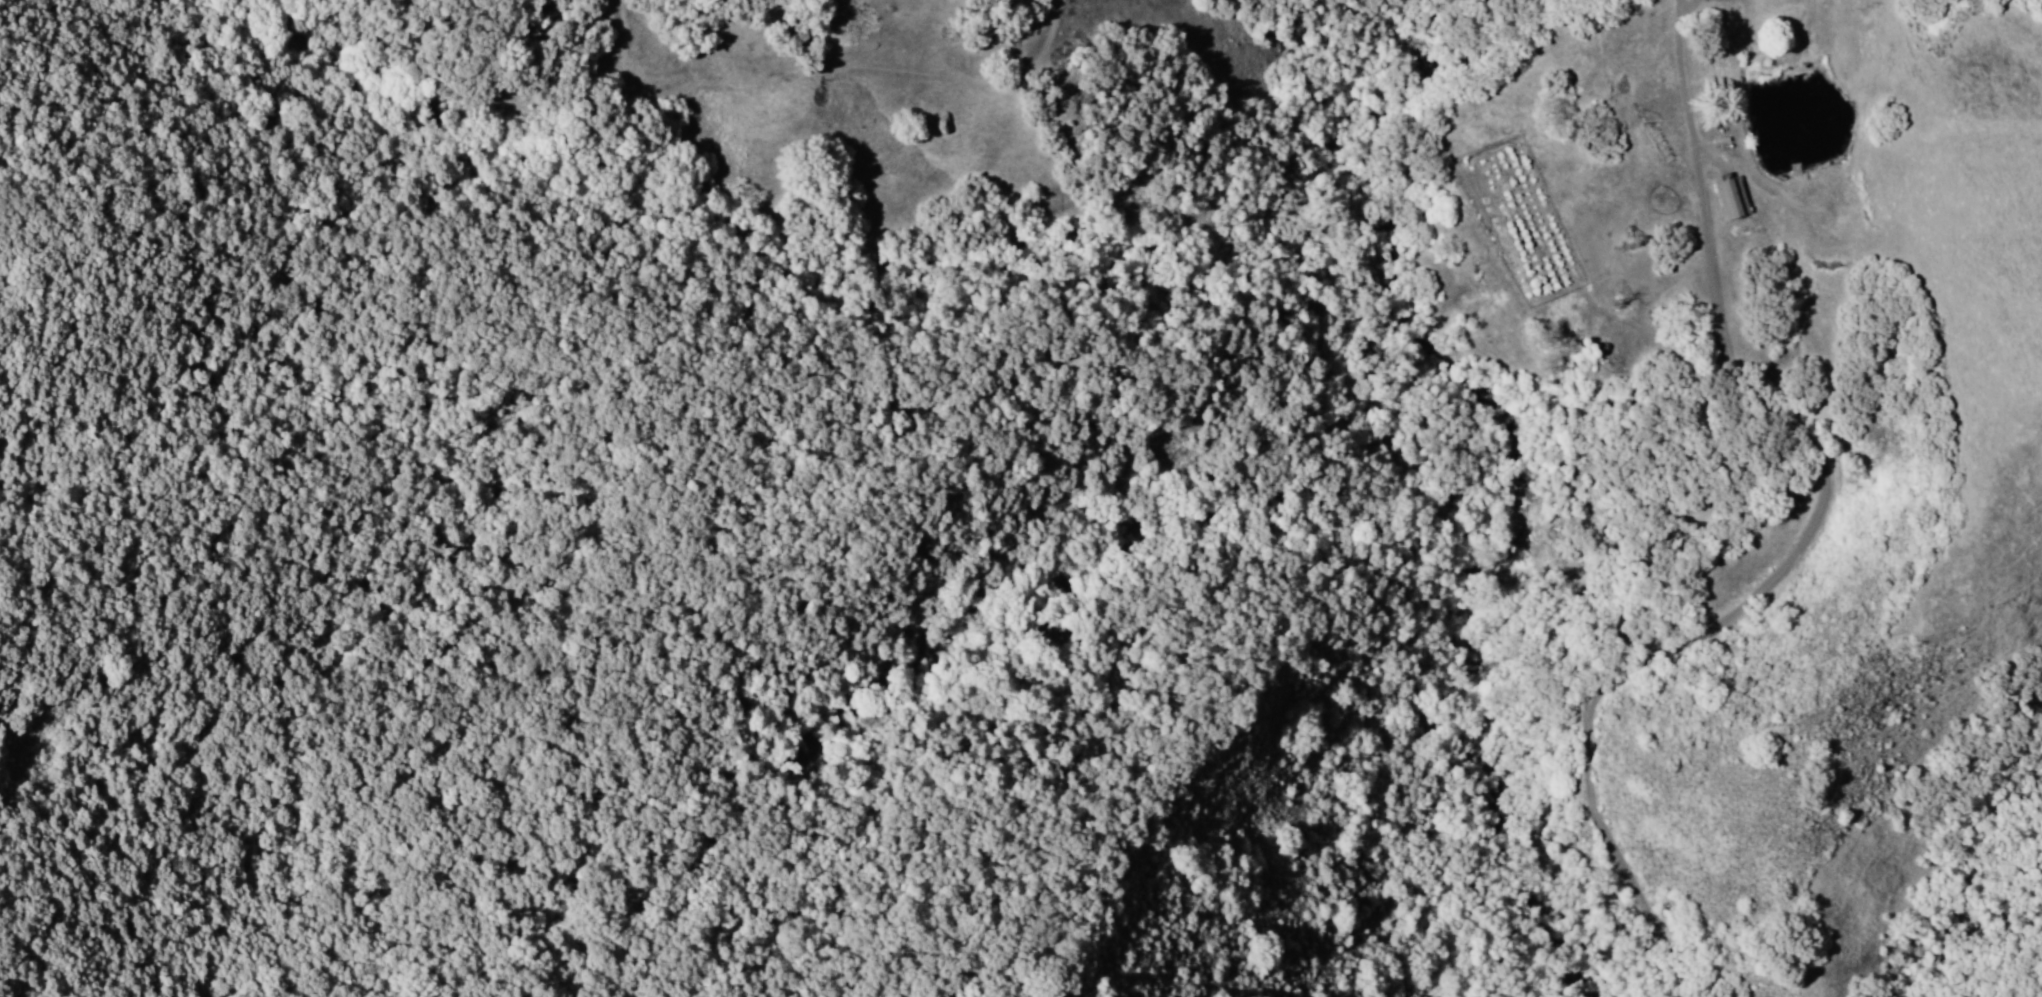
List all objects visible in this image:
road: (1679, 51)
building: (1735, 197)
road: (1756, 581)

